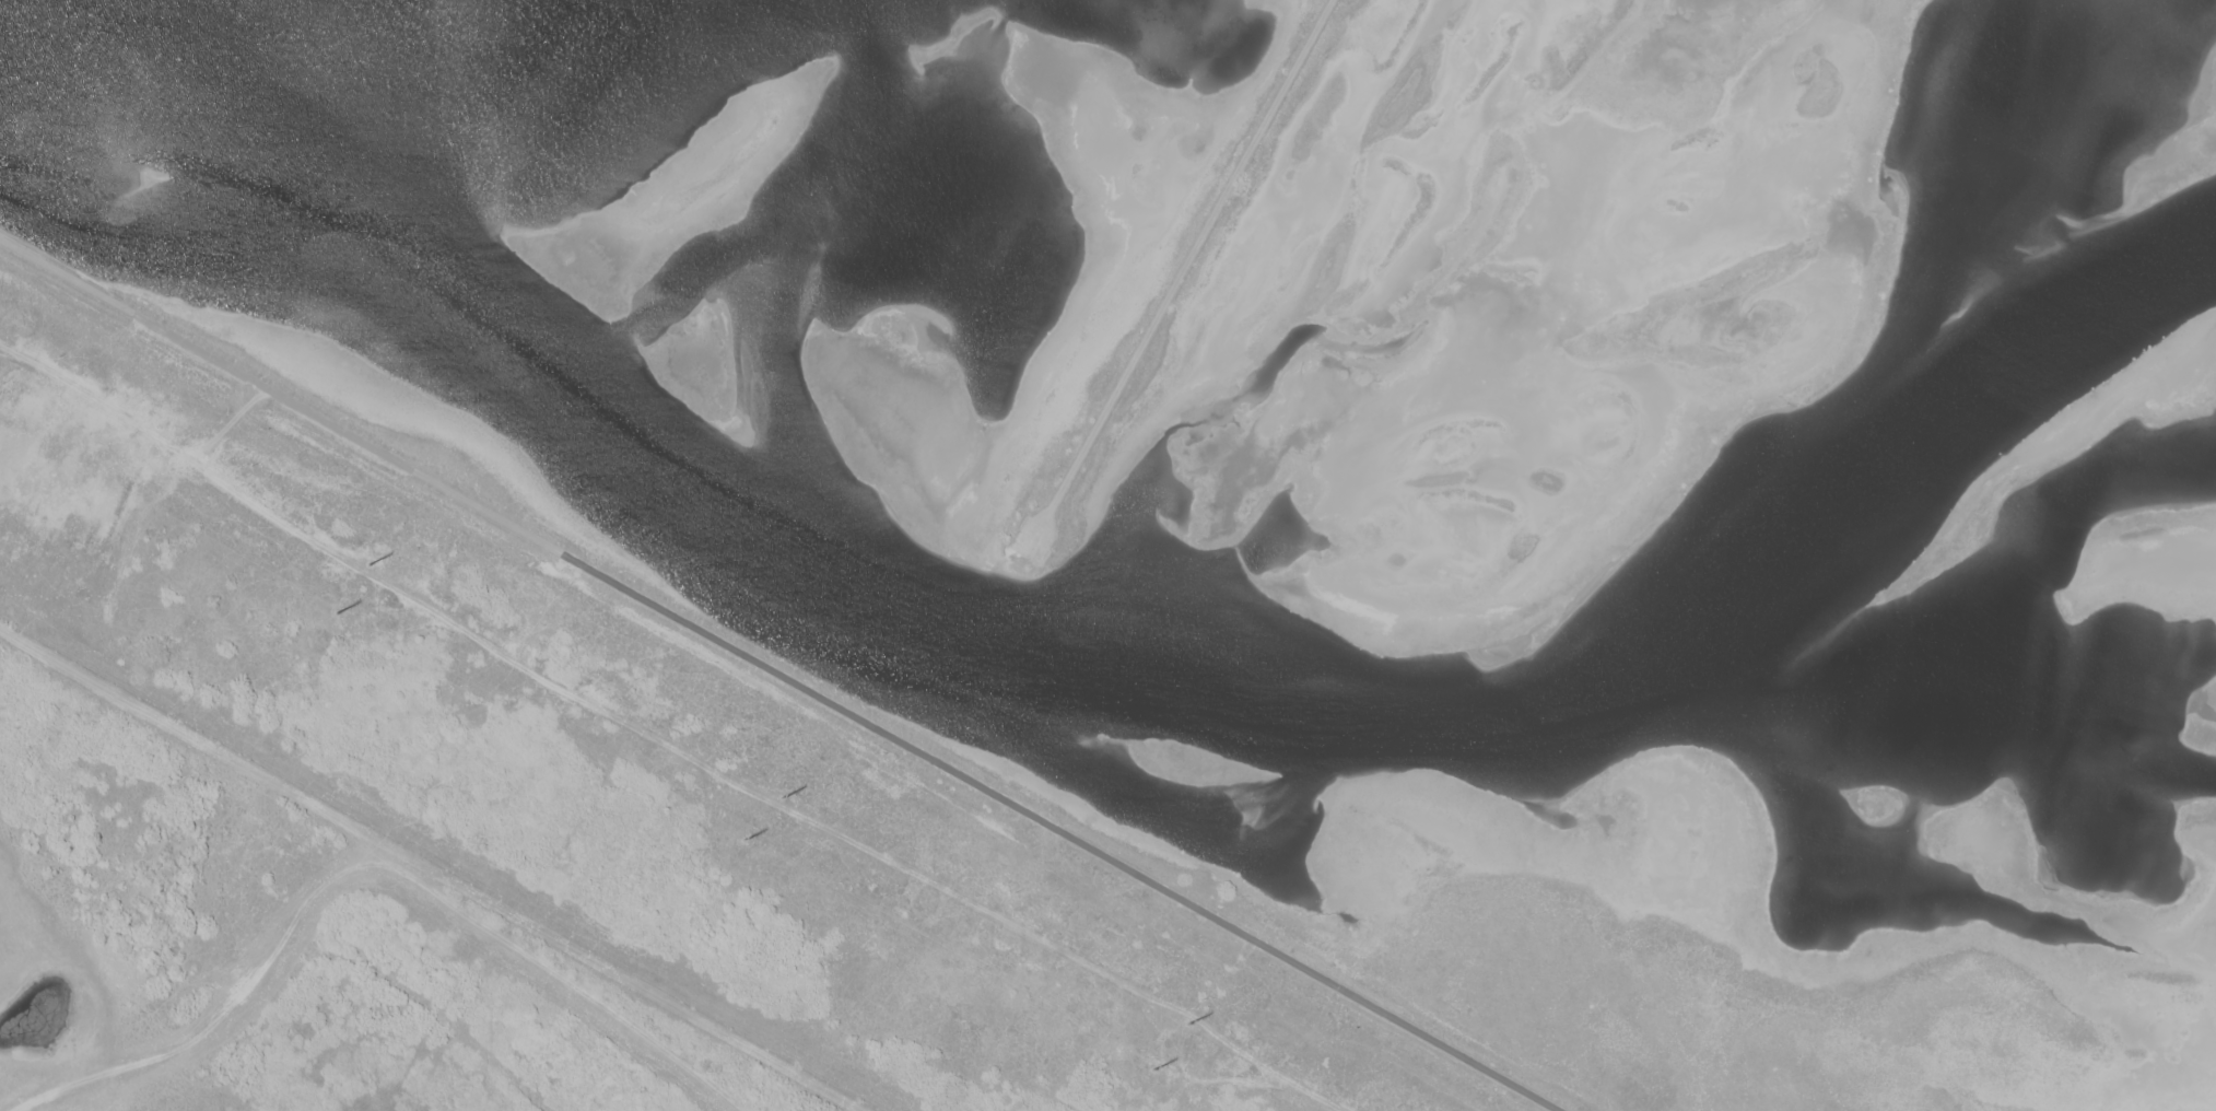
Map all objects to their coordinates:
road: (1184, 269)
power plant: (1186, 517)
power tower: (368, 562)
power tower: (337, 610)
road: (778, 674)
power tower: (781, 796)
power tower: (743, 838)
power tower: (1188, 1019)
power tower: (1152, 1066)

